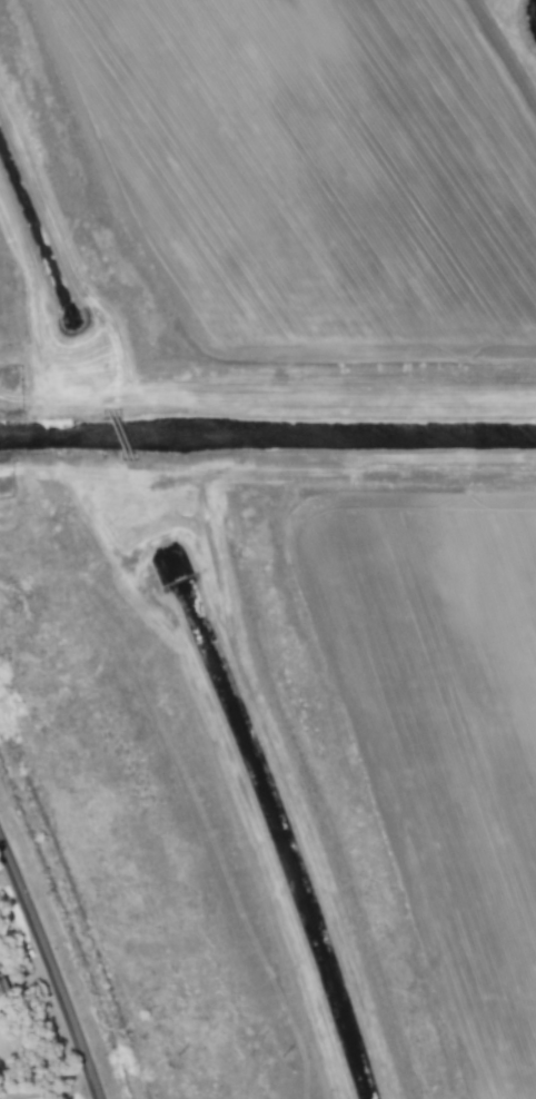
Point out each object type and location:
road: (52, 966)
building: (2, 986)

